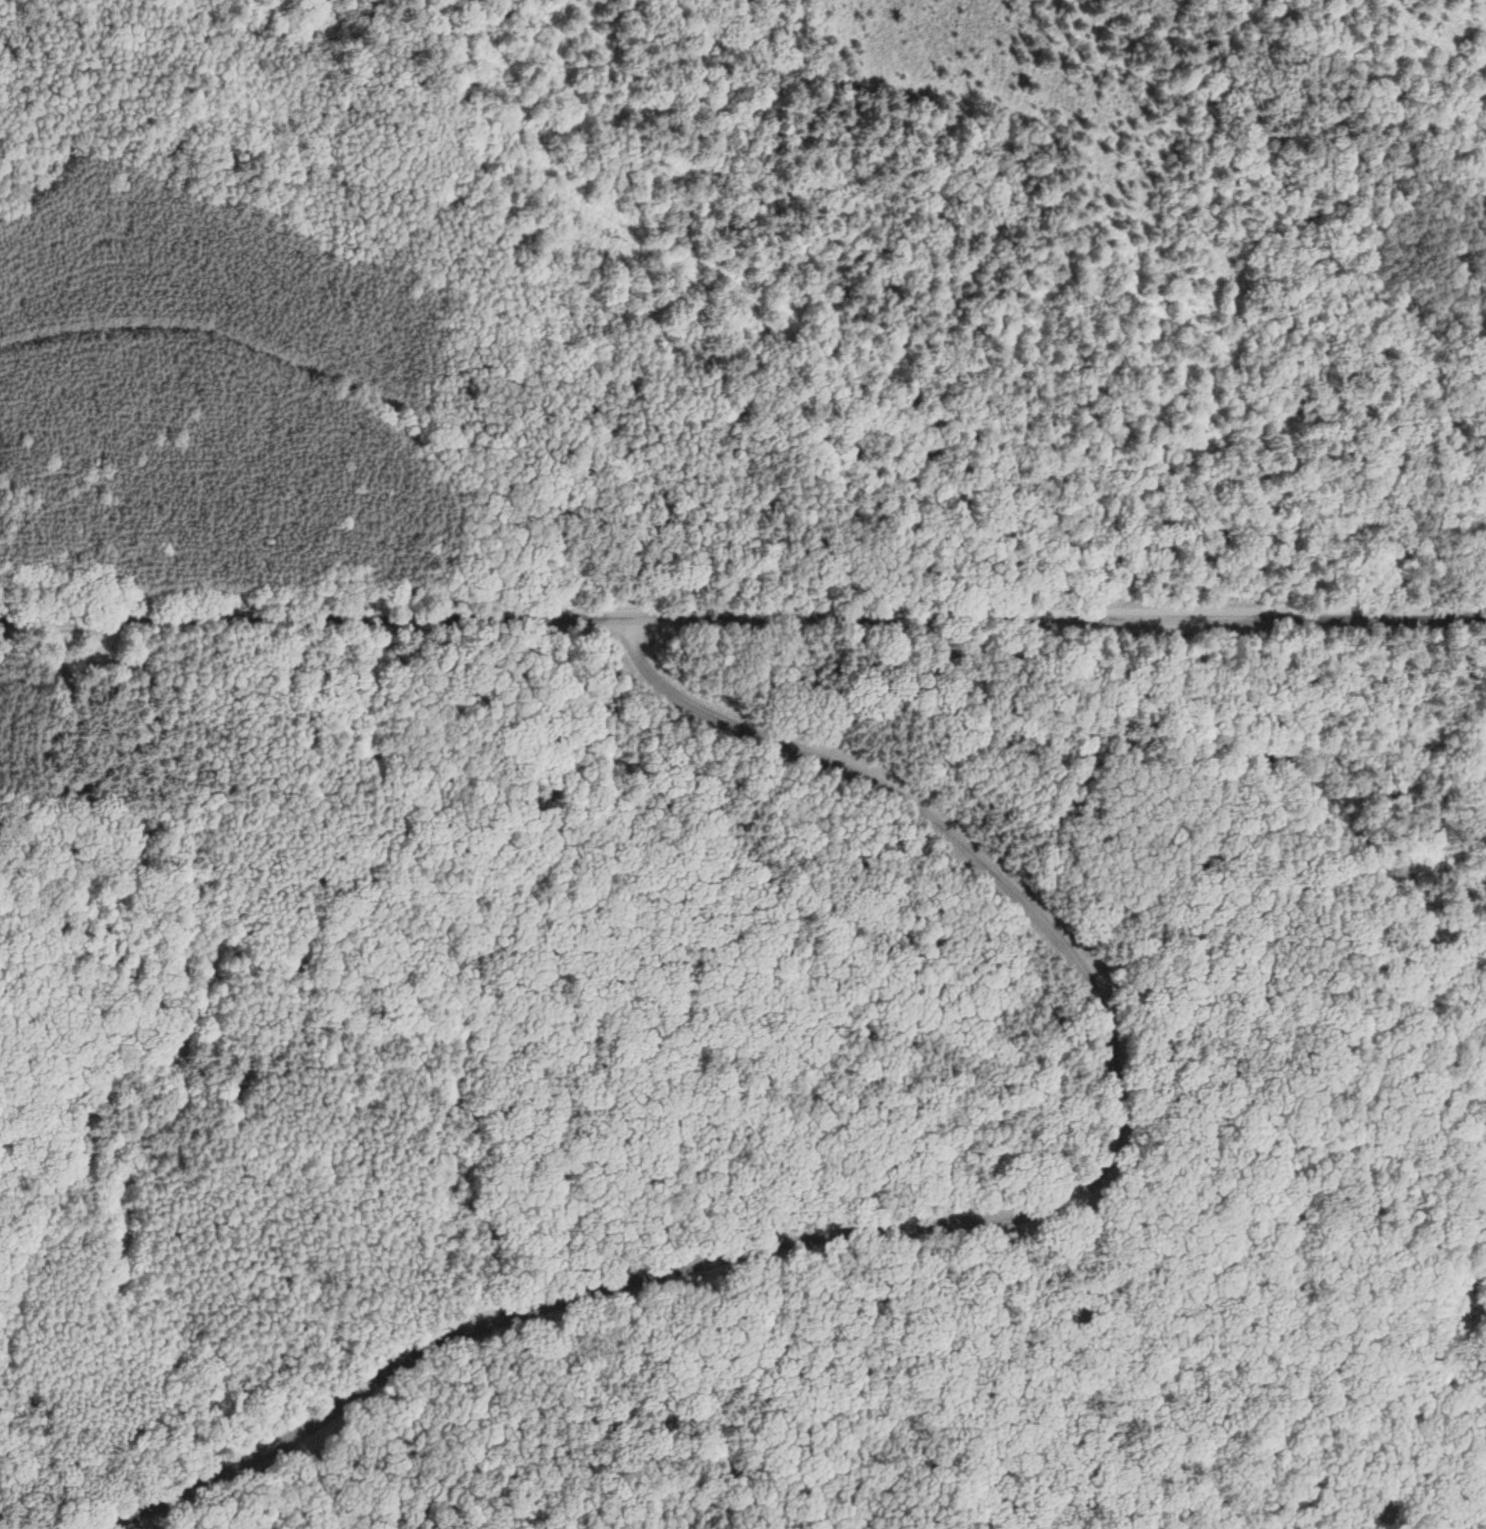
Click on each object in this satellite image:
road: (743, 627)
road: (968, 842)
road: (595, 1292)
road: (1050, 1364)
road: (124, 1526)
road: (188, 1526)
road: (180, 1527)

